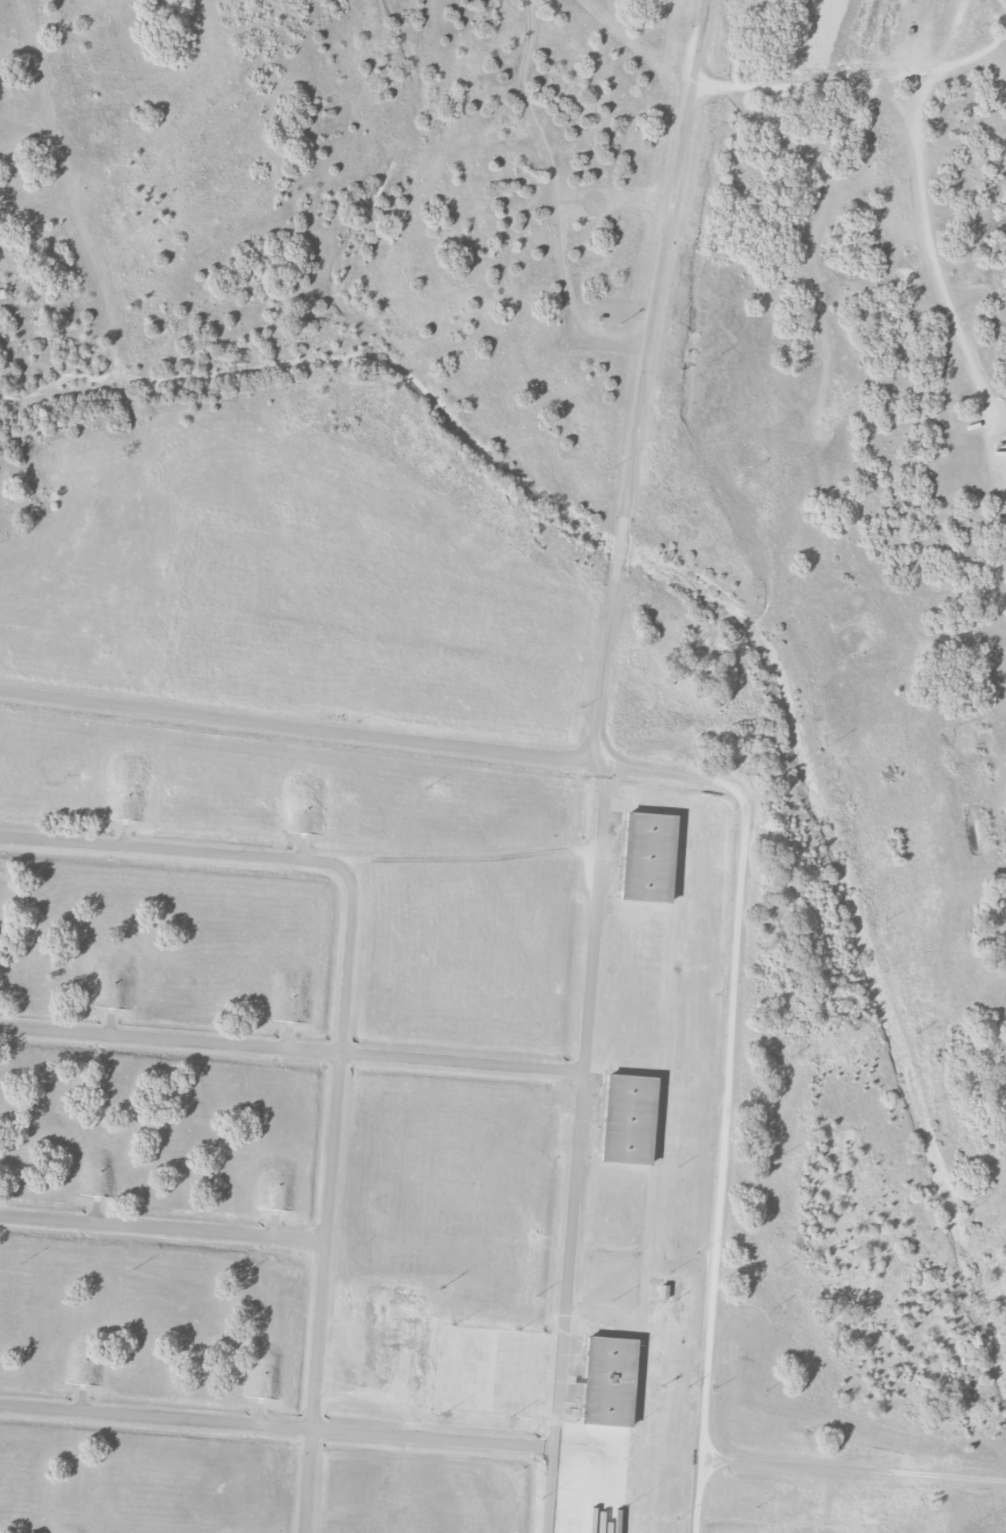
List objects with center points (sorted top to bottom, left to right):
road: (921, 208)
road: (286, 724)
road: (587, 762)
road: (602, 763)
road: (172, 849)
building: (646, 856)
road: (294, 1049)
road: (727, 1088)
building: (627, 1118)
road: (331, 1199)
road: (164, 1227)
building: (608, 1381)
road: (277, 1425)
road: (855, 1472)

